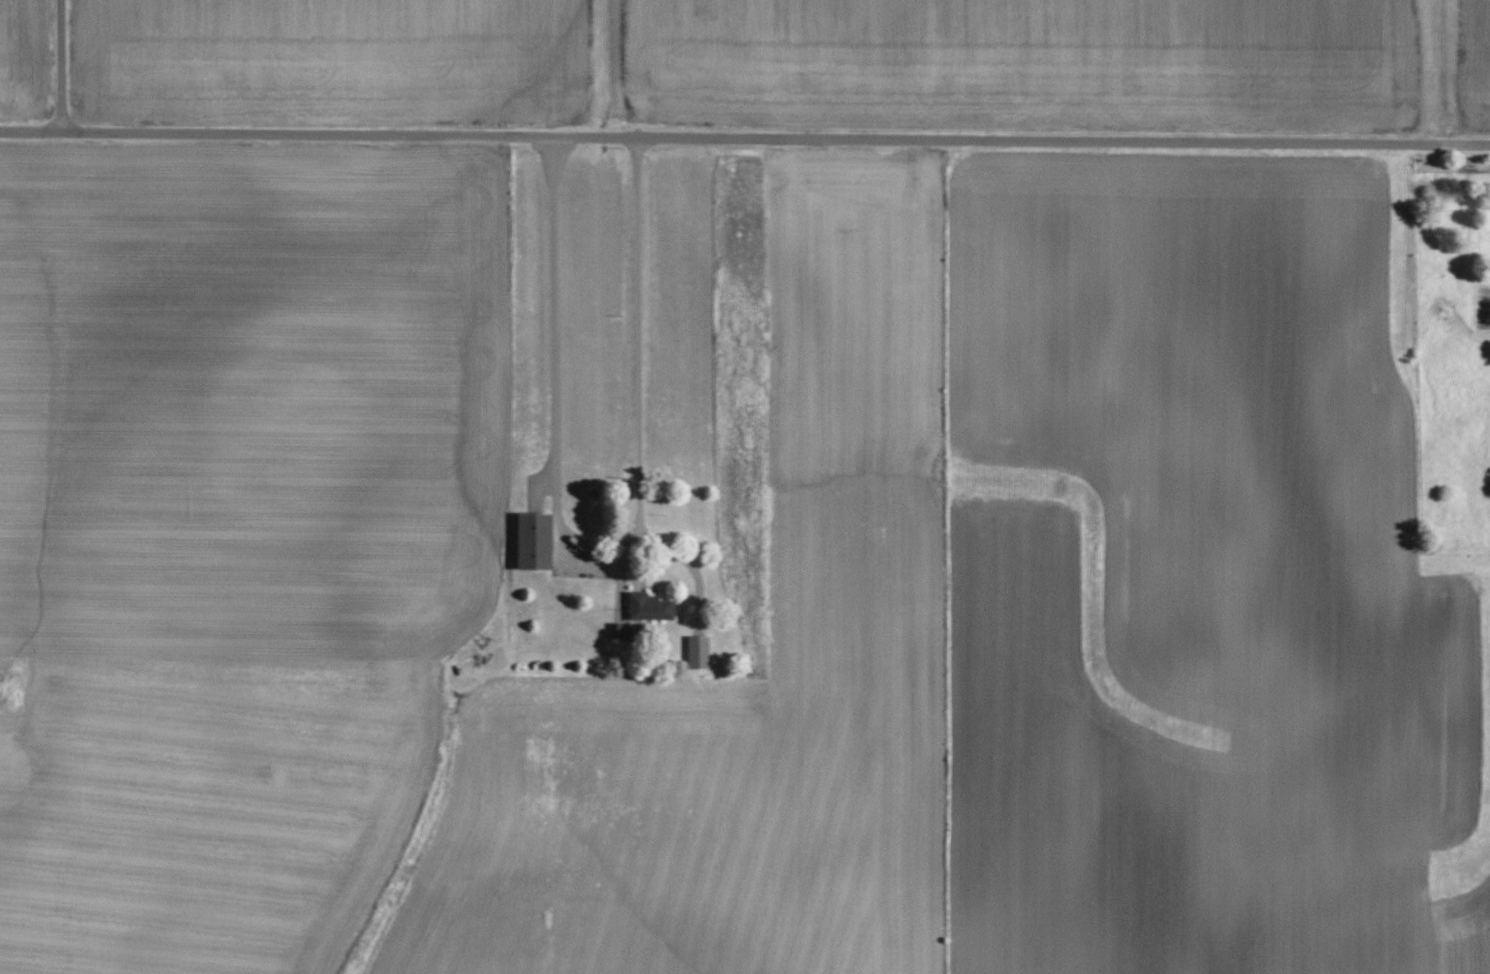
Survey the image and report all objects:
road: (60, 66)
road: (744, 139)
building: (536, 540)
road: (601, 565)
building: (651, 606)
building: (635, 631)
building: (699, 652)

